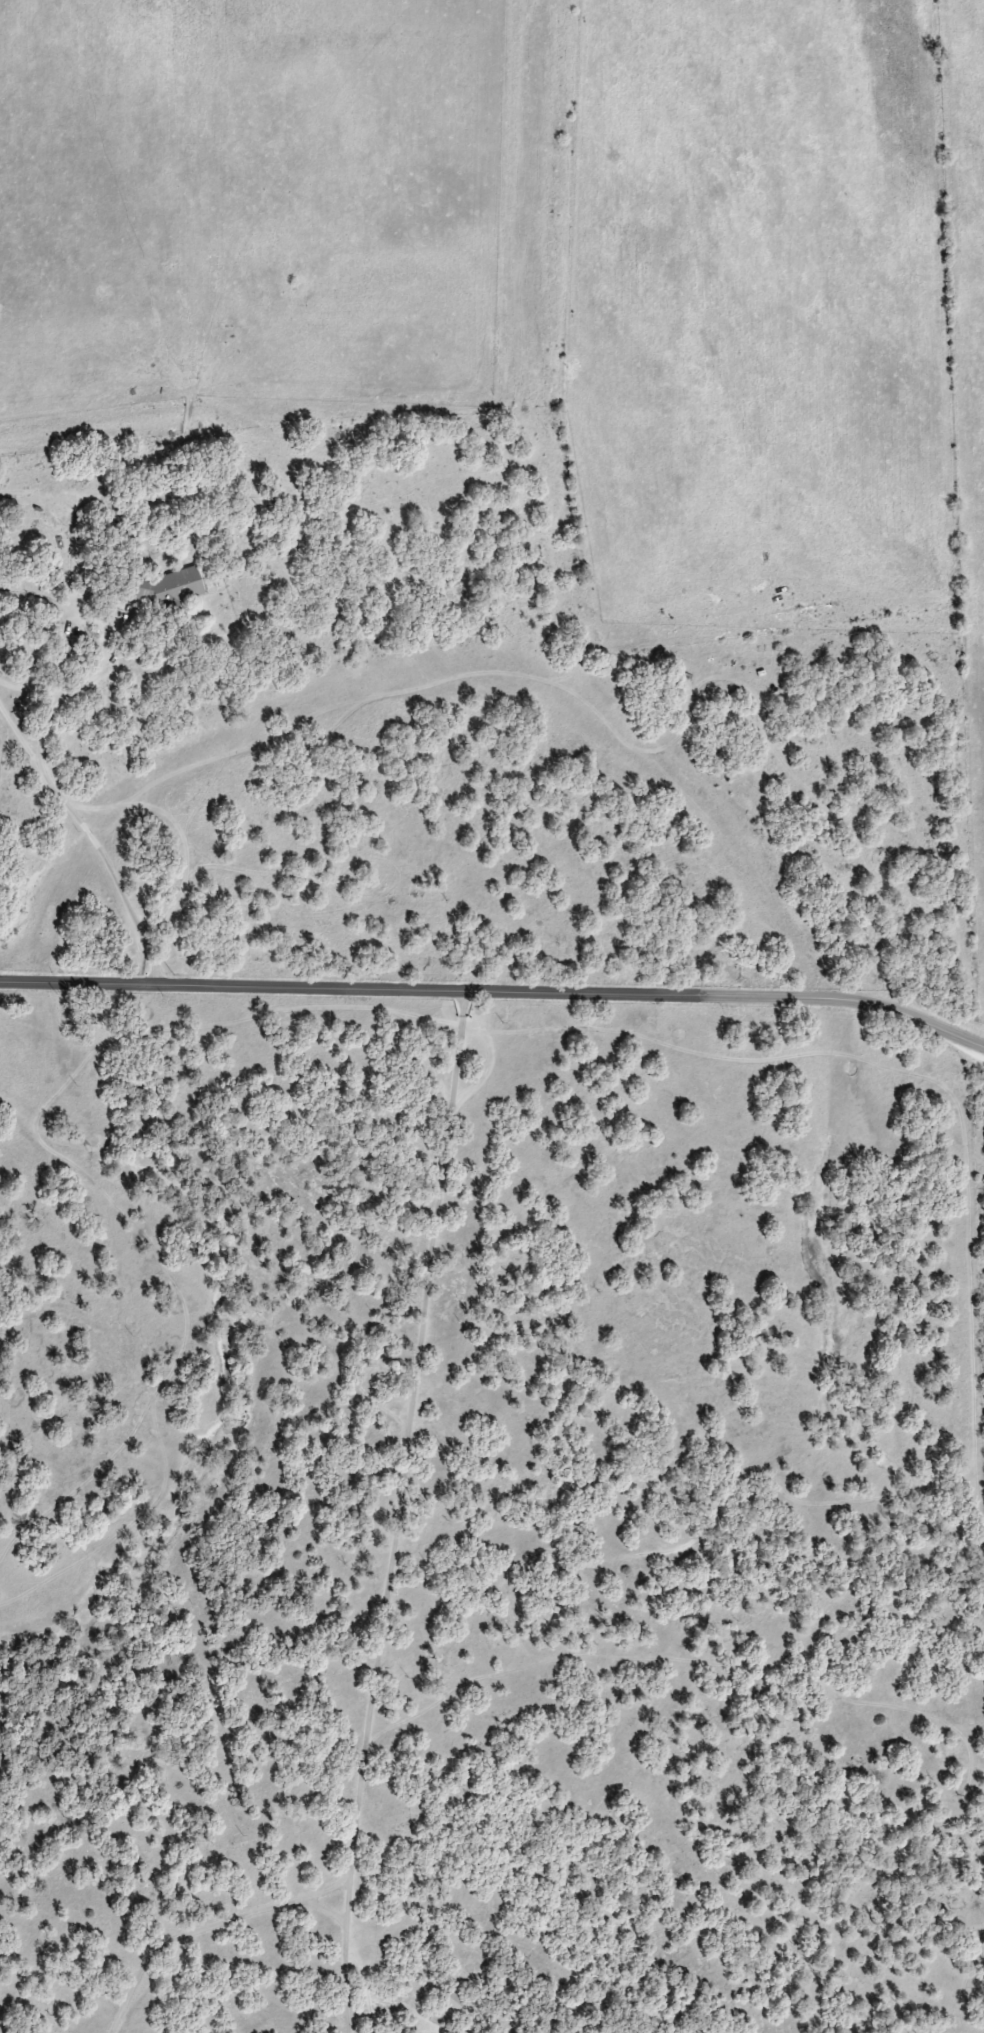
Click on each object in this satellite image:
building: (168, 588)
road: (76, 679)
road: (94, 840)
road: (496, 993)
road: (399, 1512)
road: (208, 1929)
building: (452, 2002)

